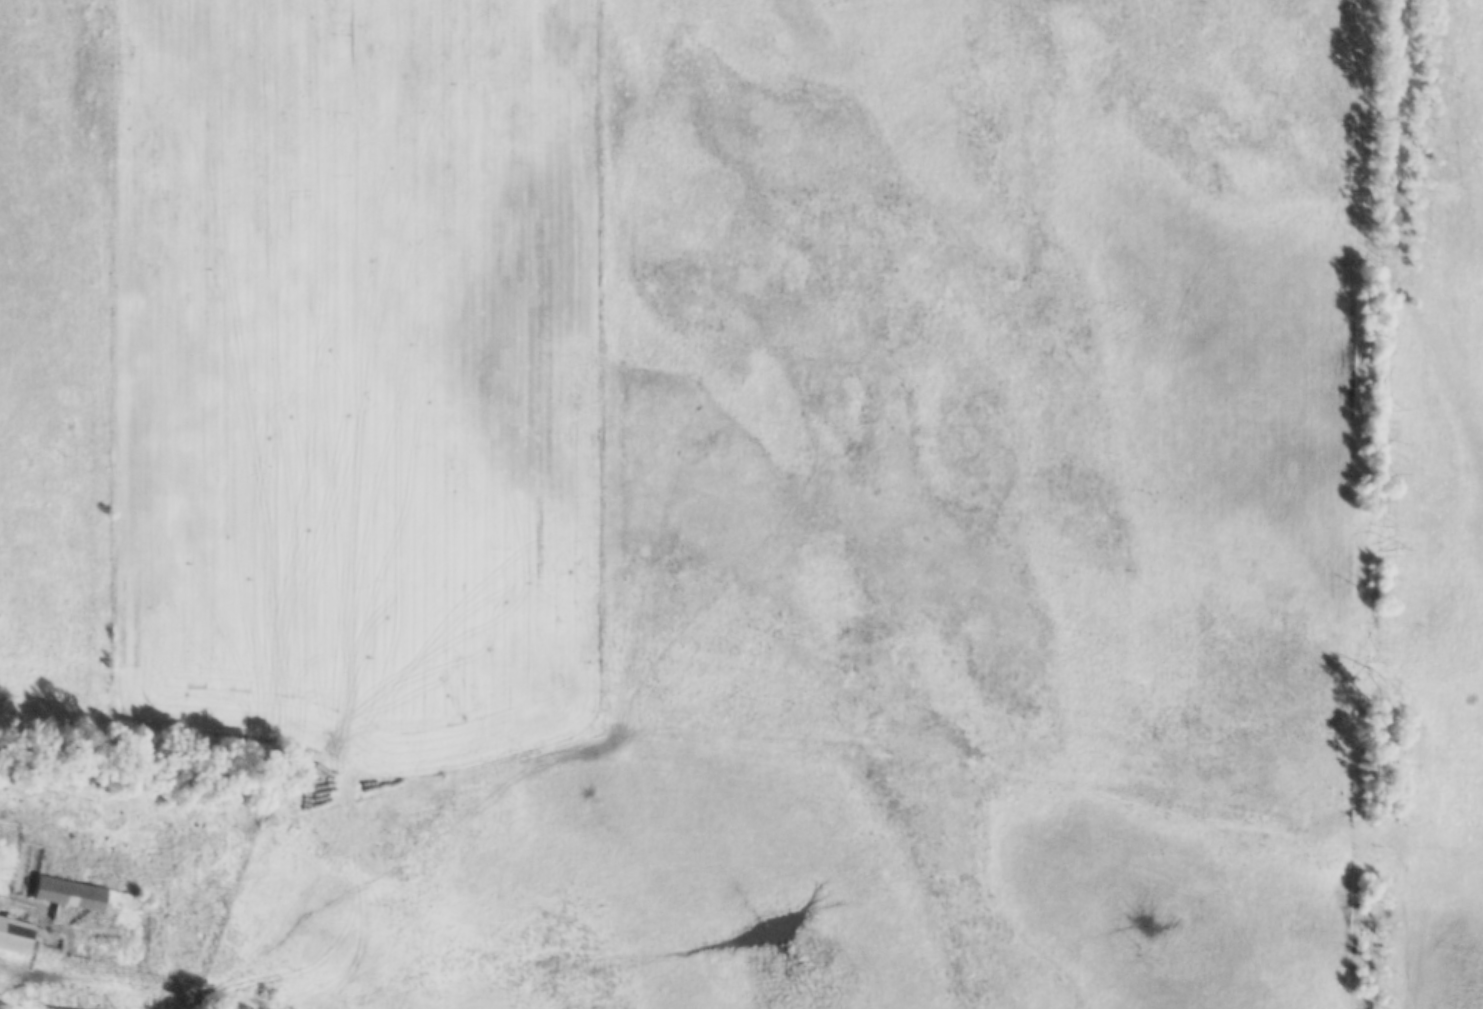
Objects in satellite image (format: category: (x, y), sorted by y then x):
building: (68, 904)
building: (14, 947)

